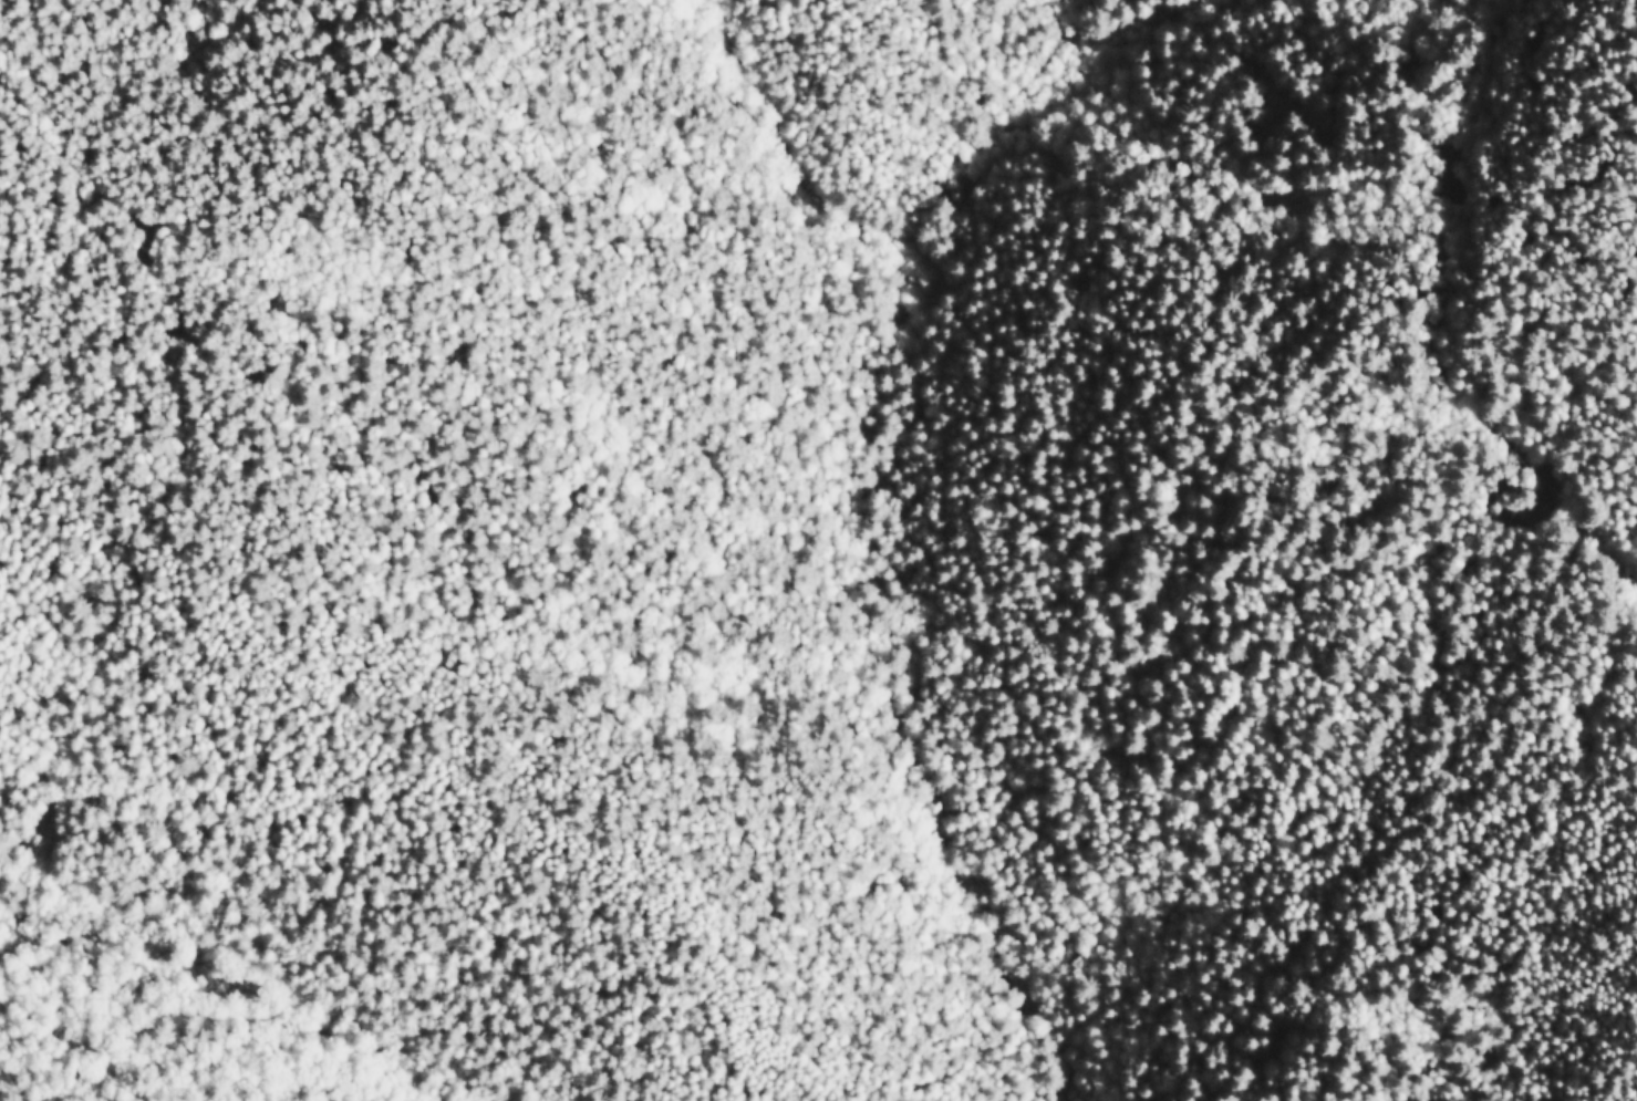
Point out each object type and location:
road: (1429, 318)

